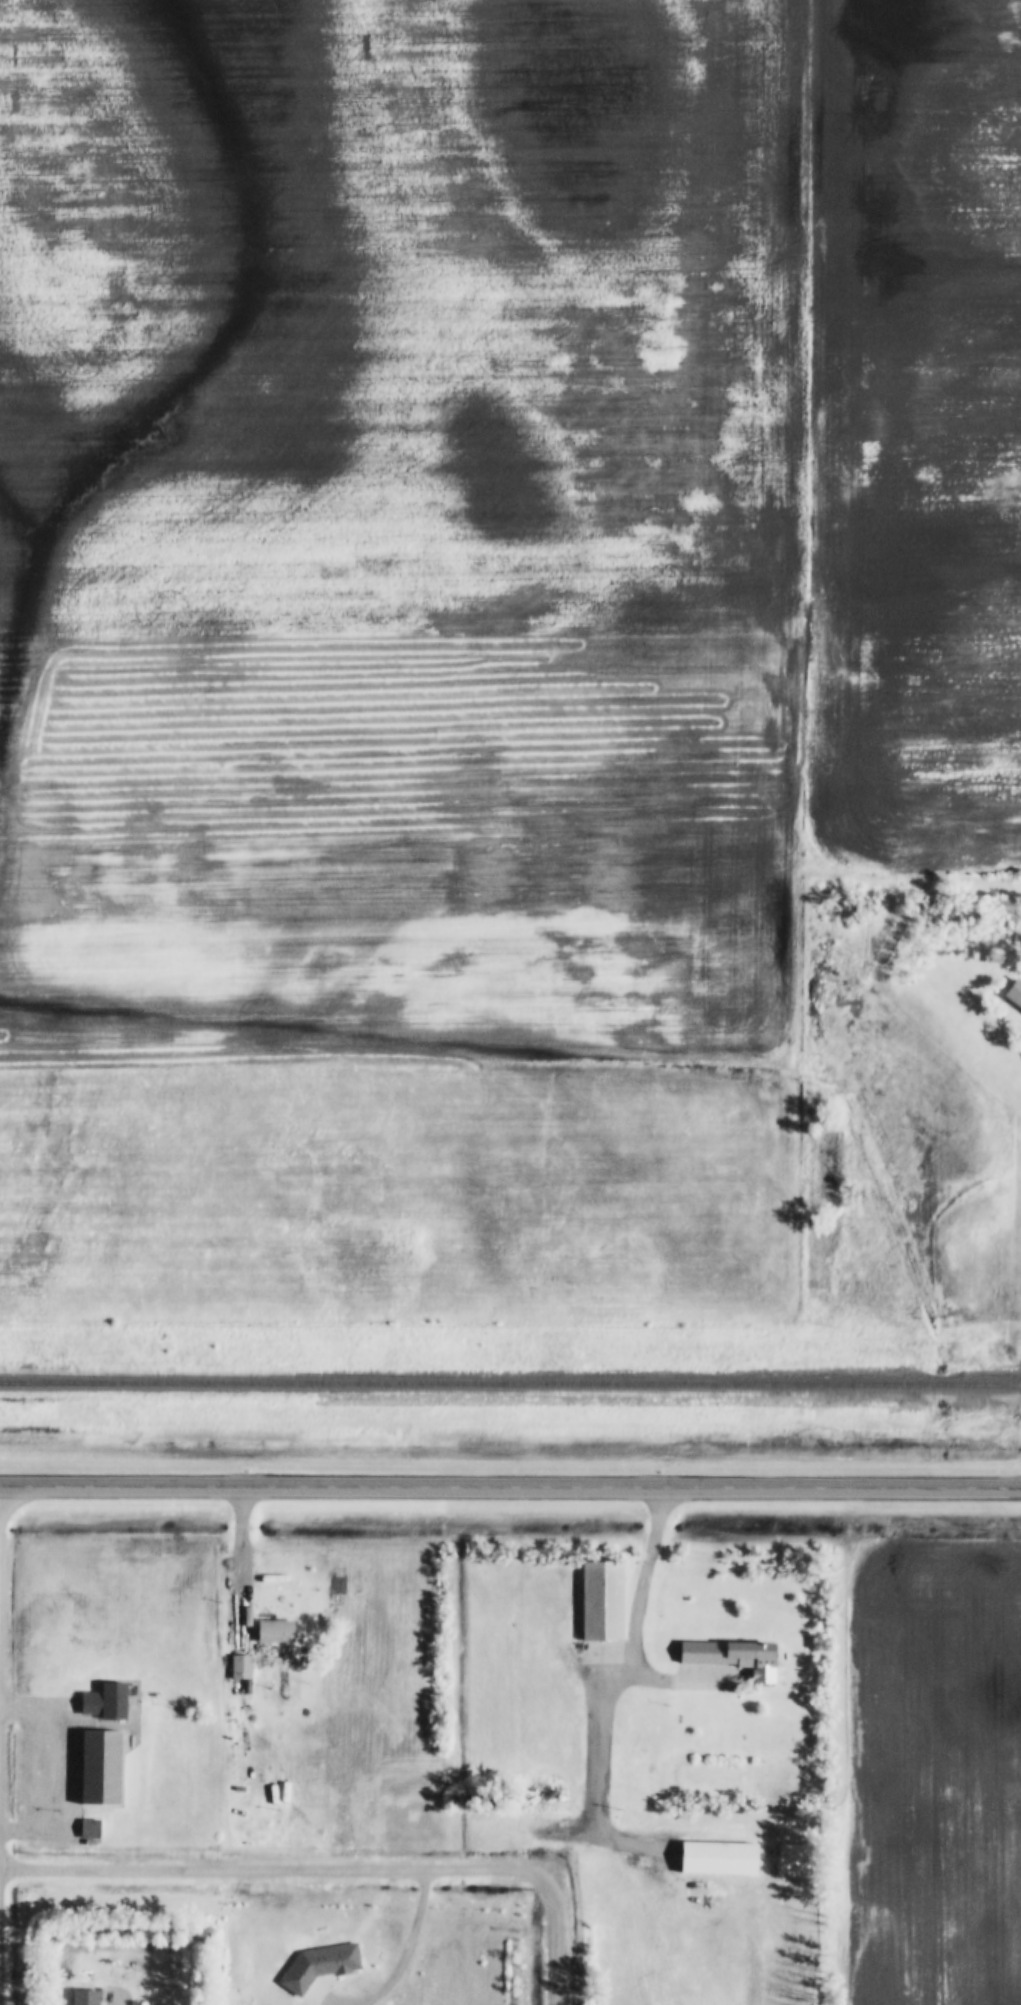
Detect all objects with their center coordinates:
crop: (908, 436)
crop: (397, 661)
building: (1015, 993)
railway: (460, 1384)
railway: (941, 1386)
railway: (991, 1386)
road: (510, 1484)
road: (0, 1524)
road: (245, 1555)
building: (603, 1611)
building: (276, 1631)
building: (250, 1632)
building: (734, 1657)
building: (242, 1666)
building: (105, 1703)
road: (599, 1747)
building: (93, 1769)
crop: (931, 1773)
building: (90, 1830)
road: (568, 1851)
building: (721, 1859)
building: (794, 1861)
road: (272, 1873)
road: (550, 1940)
building: (321, 1967)
building: (86, 1998)

